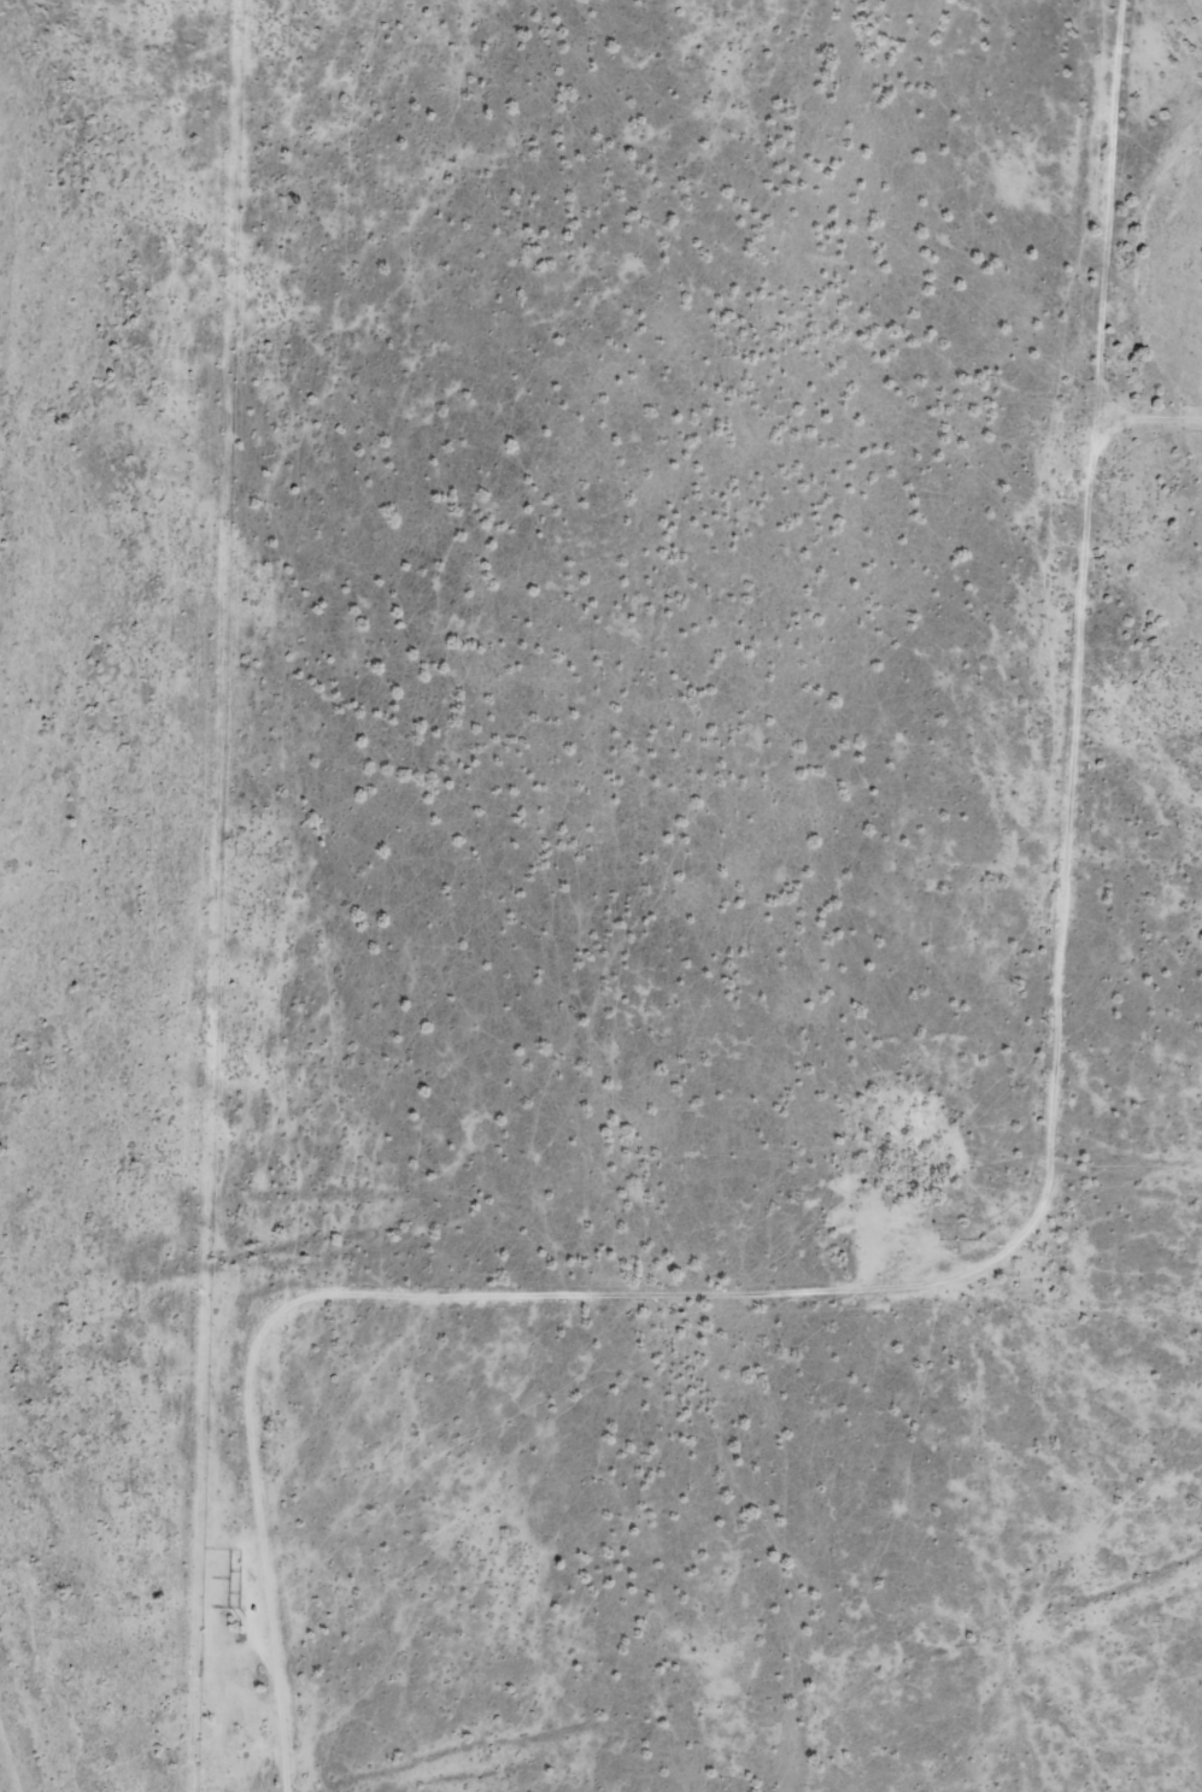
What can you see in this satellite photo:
road: (581, 1208)
road: (1026, 1230)
road: (1032, 1599)

